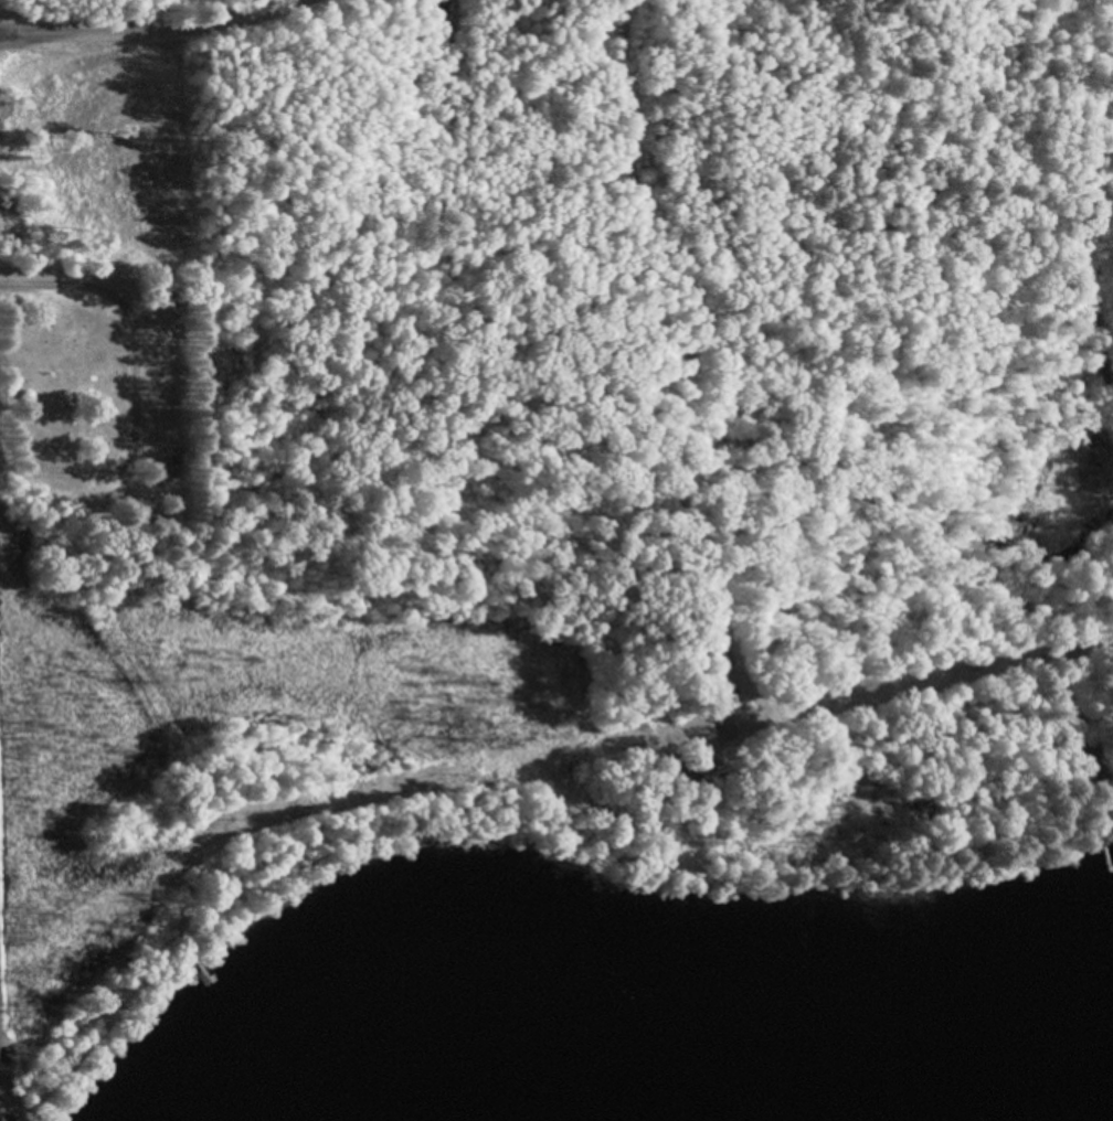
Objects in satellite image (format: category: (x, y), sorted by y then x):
road: (155, 30)
park: (104, 380)

